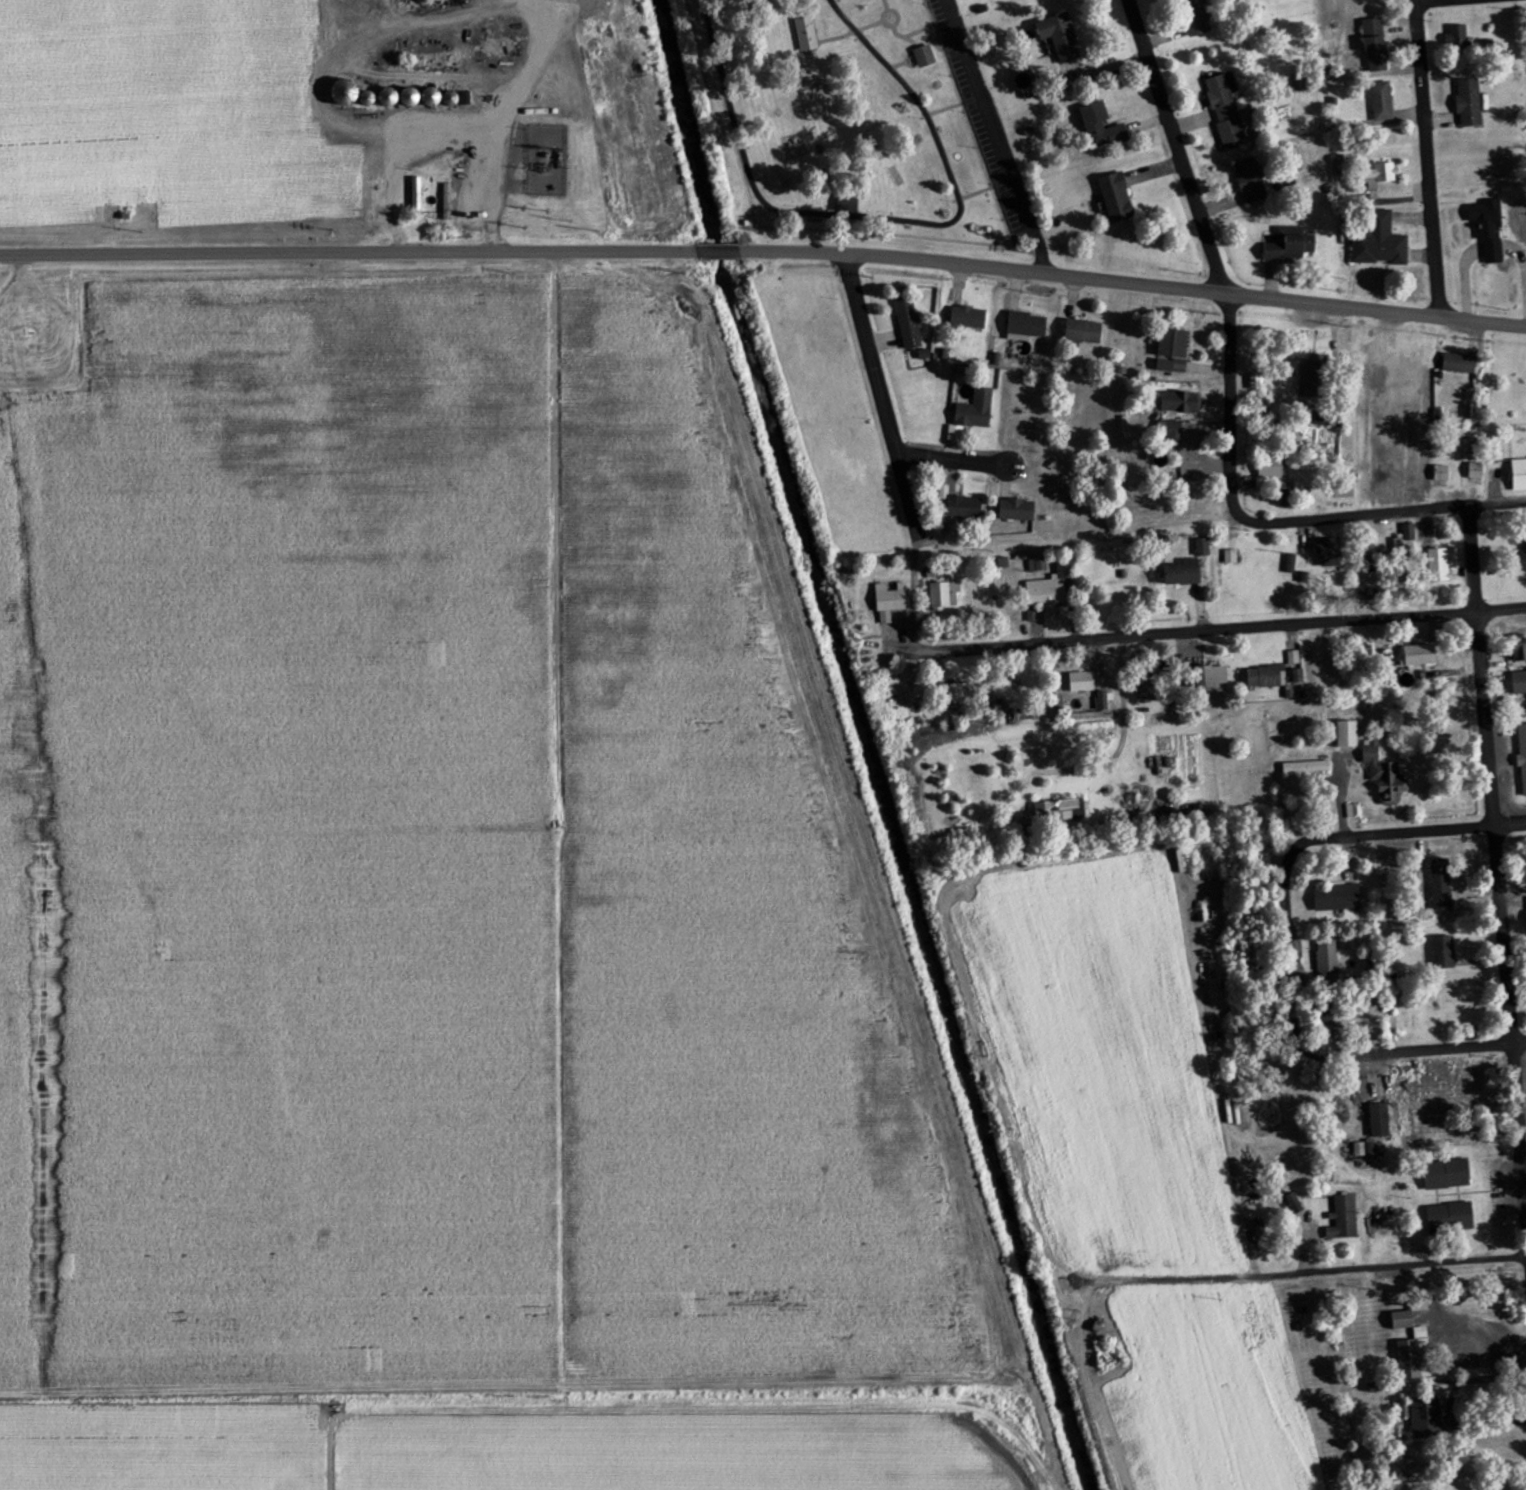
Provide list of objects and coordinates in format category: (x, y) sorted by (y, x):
road: (1420, 0)
building: (1198, 15)
building: (807, 35)
building: (1459, 37)
building: (1061, 38)
building: (1376, 46)
building: (926, 57)
building: (1383, 102)
building: (1470, 104)
building: (1228, 111)
building: (1102, 127)
road: (1176, 144)
road: (1427, 157)
building: (1382, 176)
building: (1251, 182)
building: (1117, 198)
building: (1489, 230)
building: (1381, 243)
building: (1292, 245)
road: (714, 250)
road: (347, 252)
road: (1130, 280)
building: (970, 318)
building: (909, 325)
building: (1029, 325)
building: (1085, 332)
building: (1174, 352)
building: (1459, 364)
building: (1409, 378)
building: (1312, 379)
building: (1256, 383)
road: (881, 398)
road: (1234, 399)
building: (1182, 403)
building: (977, 410)
building: (1470, 411)
building: (1172, 432)
road: (951, 455)
building: (1475, 471)
building: (1269, 474)
building: (1518, 475)
building: (966, 508)
building: (1019, 511)
road: (1223, 512)
building: (1405, 539)
building: (1525, 544)
building: (1203, 548)
building: (1330, 552)
building: (1521, 556)
building: (1231, 557)
building: (1039, 564)
building: (1291, 564)
building: (1439, 566)
building: (933, 573)
building: (1184, 573)
building: (1052, 587)
building: (945, 595)
building: (892, 601)
road: (1212, 626)
building: (1520, 652)
building: (1420, 655)
building: (1214, 675)
building: (1298, 676)
building: (1266, 677)
building: (1084, 682)
building: (1519, 682)
building: (963, 693)
building: (1102, 700)
building: (1350, 734)
building: (1522, 754)
building: (1308, 767)
building: (1385, 774)
building: (1062, 810)
building: (1354, 811)
road: (1410, 827)
road: (1497, 857)
building: (1442, 884)
building: (1338, 898)
road: (1287, 938)
building: (1444, 952)
building: (1328, 960)
road: (1426, 1047)
building: (1380, 1120)
building: (1448, 1174)
building: (1297, 1206)
building: (1452, 1217)
building: (1343, 1218)
road: (1301, 1267)
building: (1404, 1320)
building: (1417, 1356)
building: (1428, 1419)

